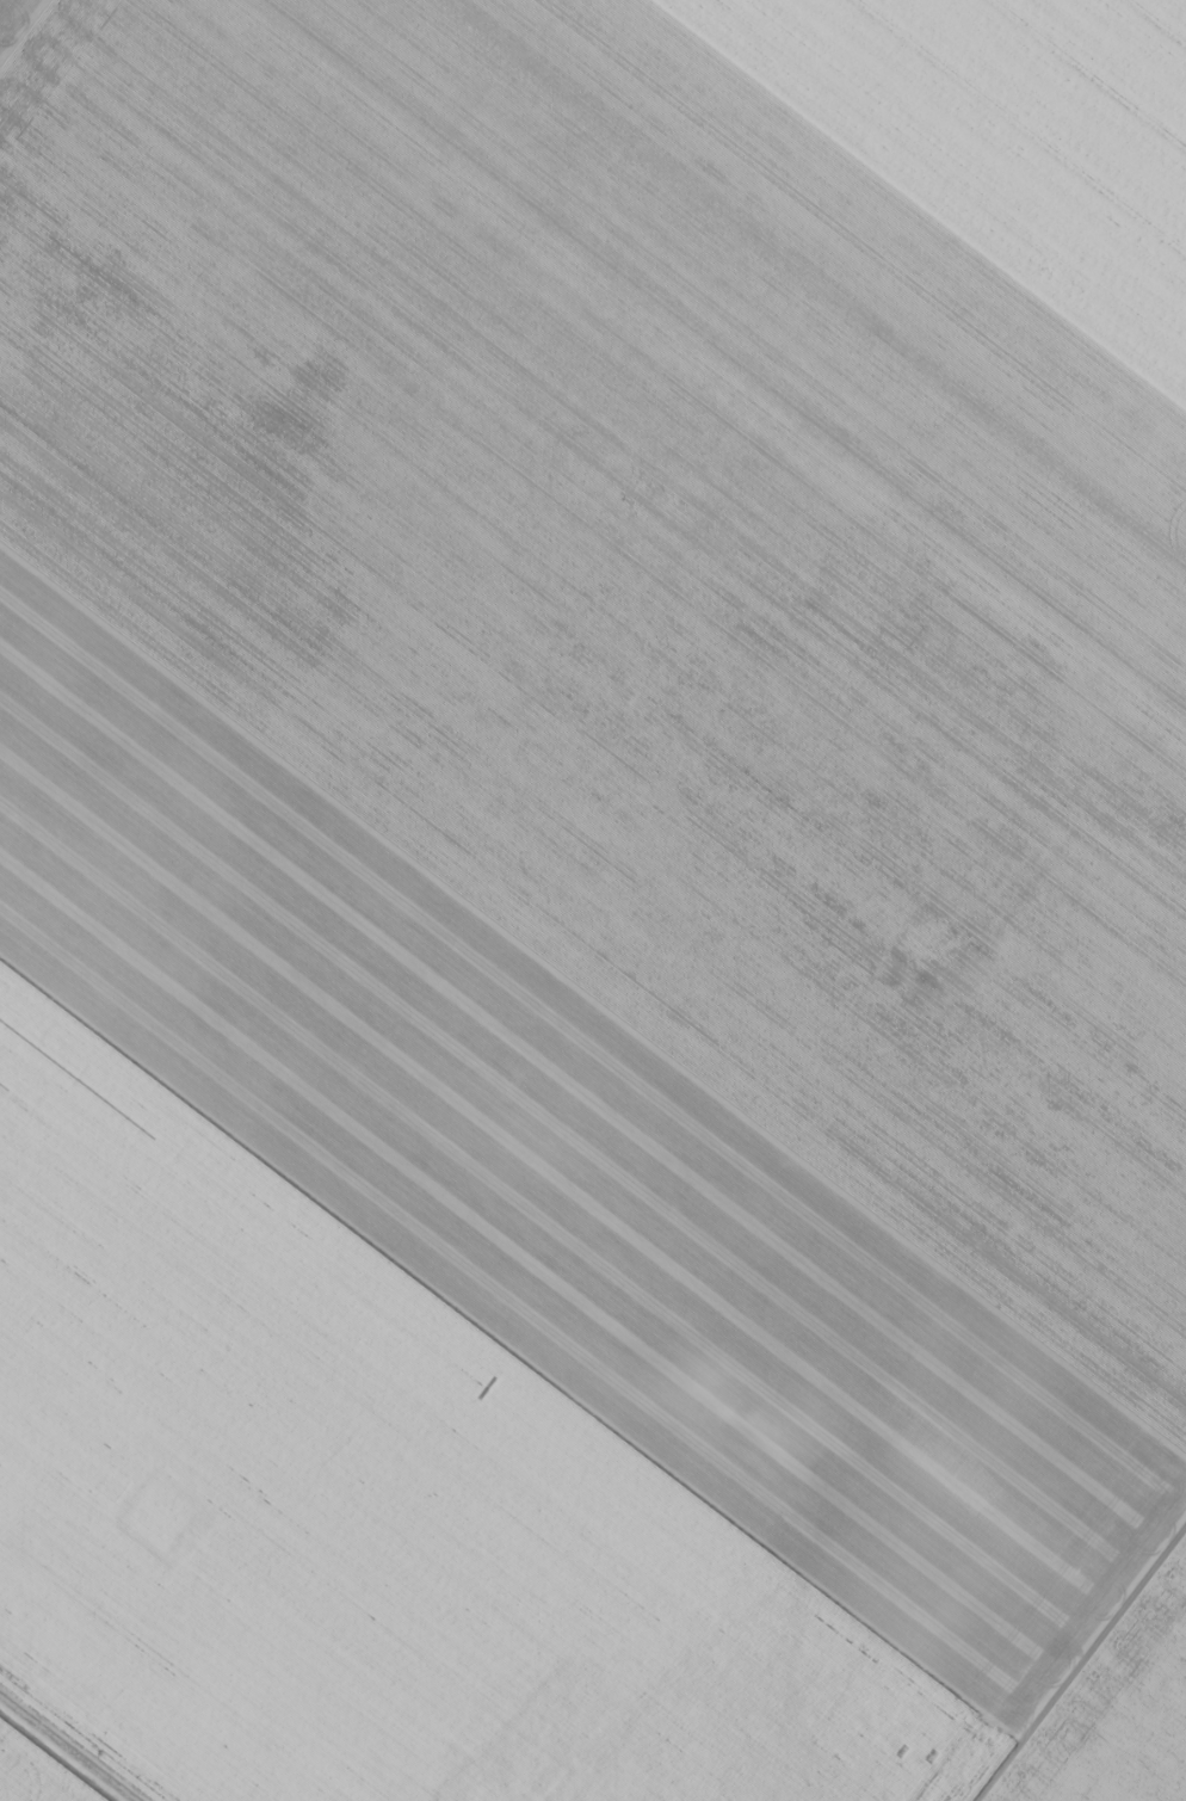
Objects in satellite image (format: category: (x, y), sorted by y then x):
road: (73, 1744)

